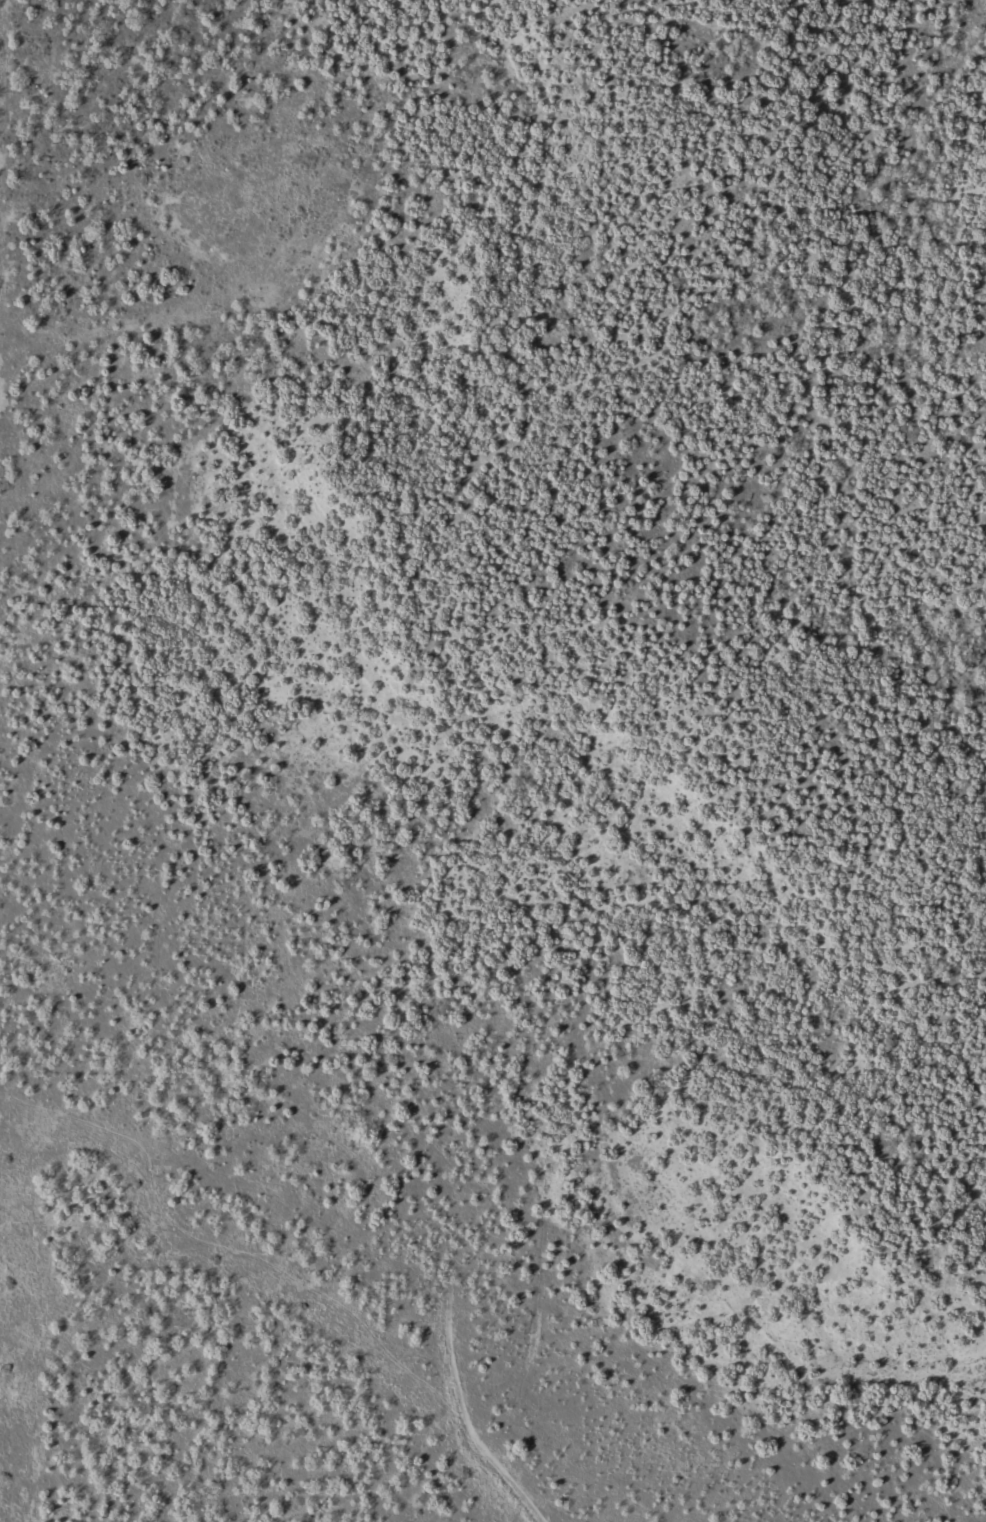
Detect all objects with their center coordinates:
road: (690, 254)

